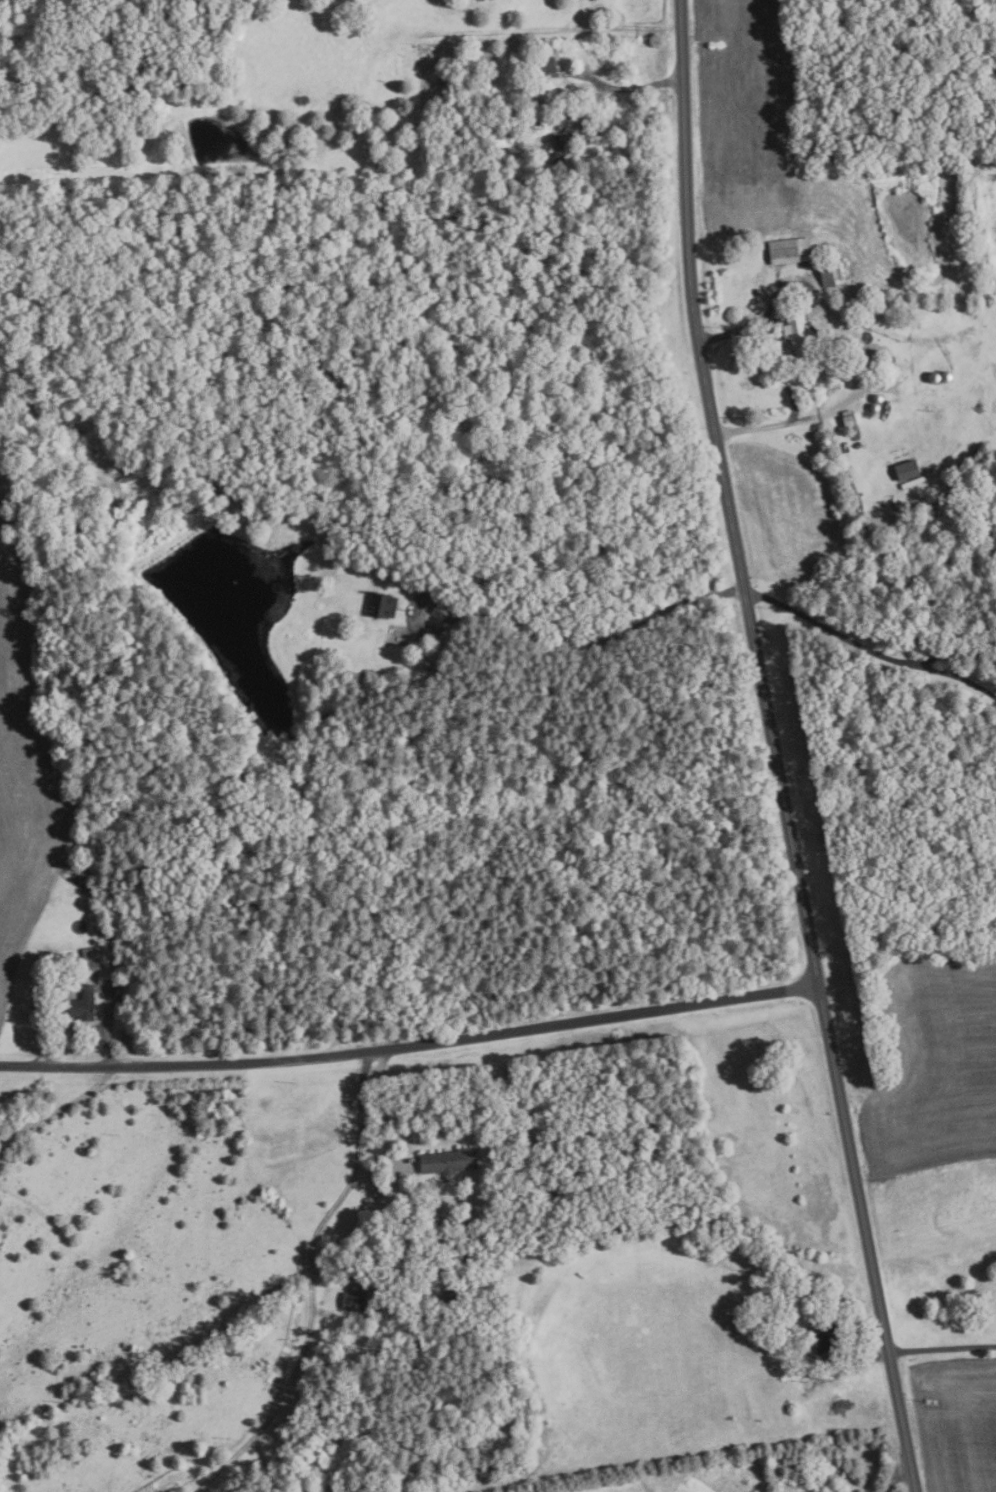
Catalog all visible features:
building: (543, 66)
road: (631, 86)
building: (544, 108)
building: (557, 150)
building: (790, 251)
building: (832, 272)
building: (753, 291)
building: (799, 335)
road: (773, 337)
building: (842, 347)
building: (875, 354)
building: (889, 362)
building: (875, 377)
building: (934, 377)
silo: (934, 377)
building: (946, 377)
silo: (946, 377)
building: (878, 398)
silo: (878, 398)
building: (874, 407)
silo: (874, 407)
building: (849, 419)
road: (768, 425)
building: (854, 434)
building: (857, 446)
building: (906, 470)
building: (383, 606)
road: (827, 623)
road: (952, 652)
road: (570, 653)
road: (953, 669)
building: (317, 683)
road: (772, 748)
building: (99, 968)
building: (81, 1007)
road: (107, 1028)
road: (410, 1044)
road: (56, 1107)
road: (381, 1118)
building: (449, 1160)
road: (311, 1237)
building: (766, 1294)
building: (354, 1297)
building: (454, 1300)
road: (334, 1315)
building: (826, 1334)
road: (942, 1349)
road: (853, 1361)
road: (228, 1457)
road: (263, 1458)
building: (729, 1462)
road: (894, 1475)
building: (322, 1489)

